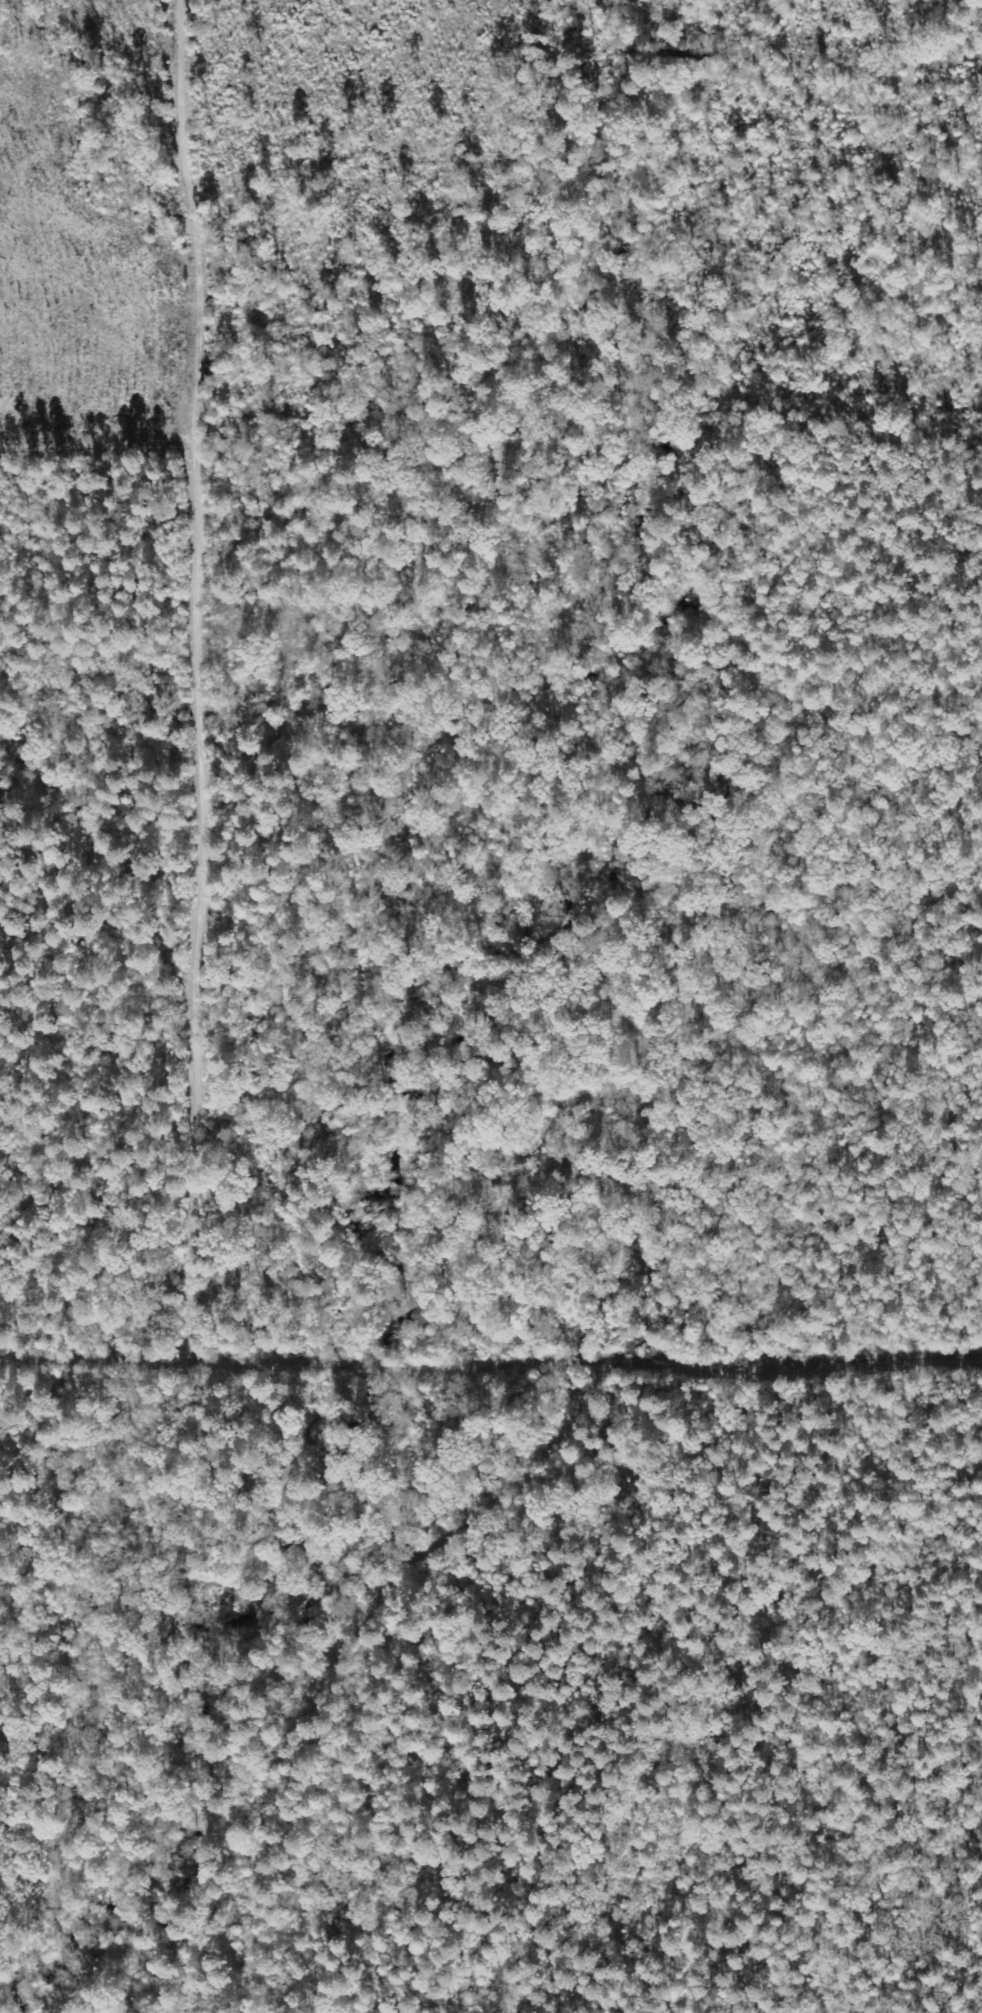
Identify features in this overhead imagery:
road: (225, 673)
road: (490, 1355)
road: (324, 1647)

